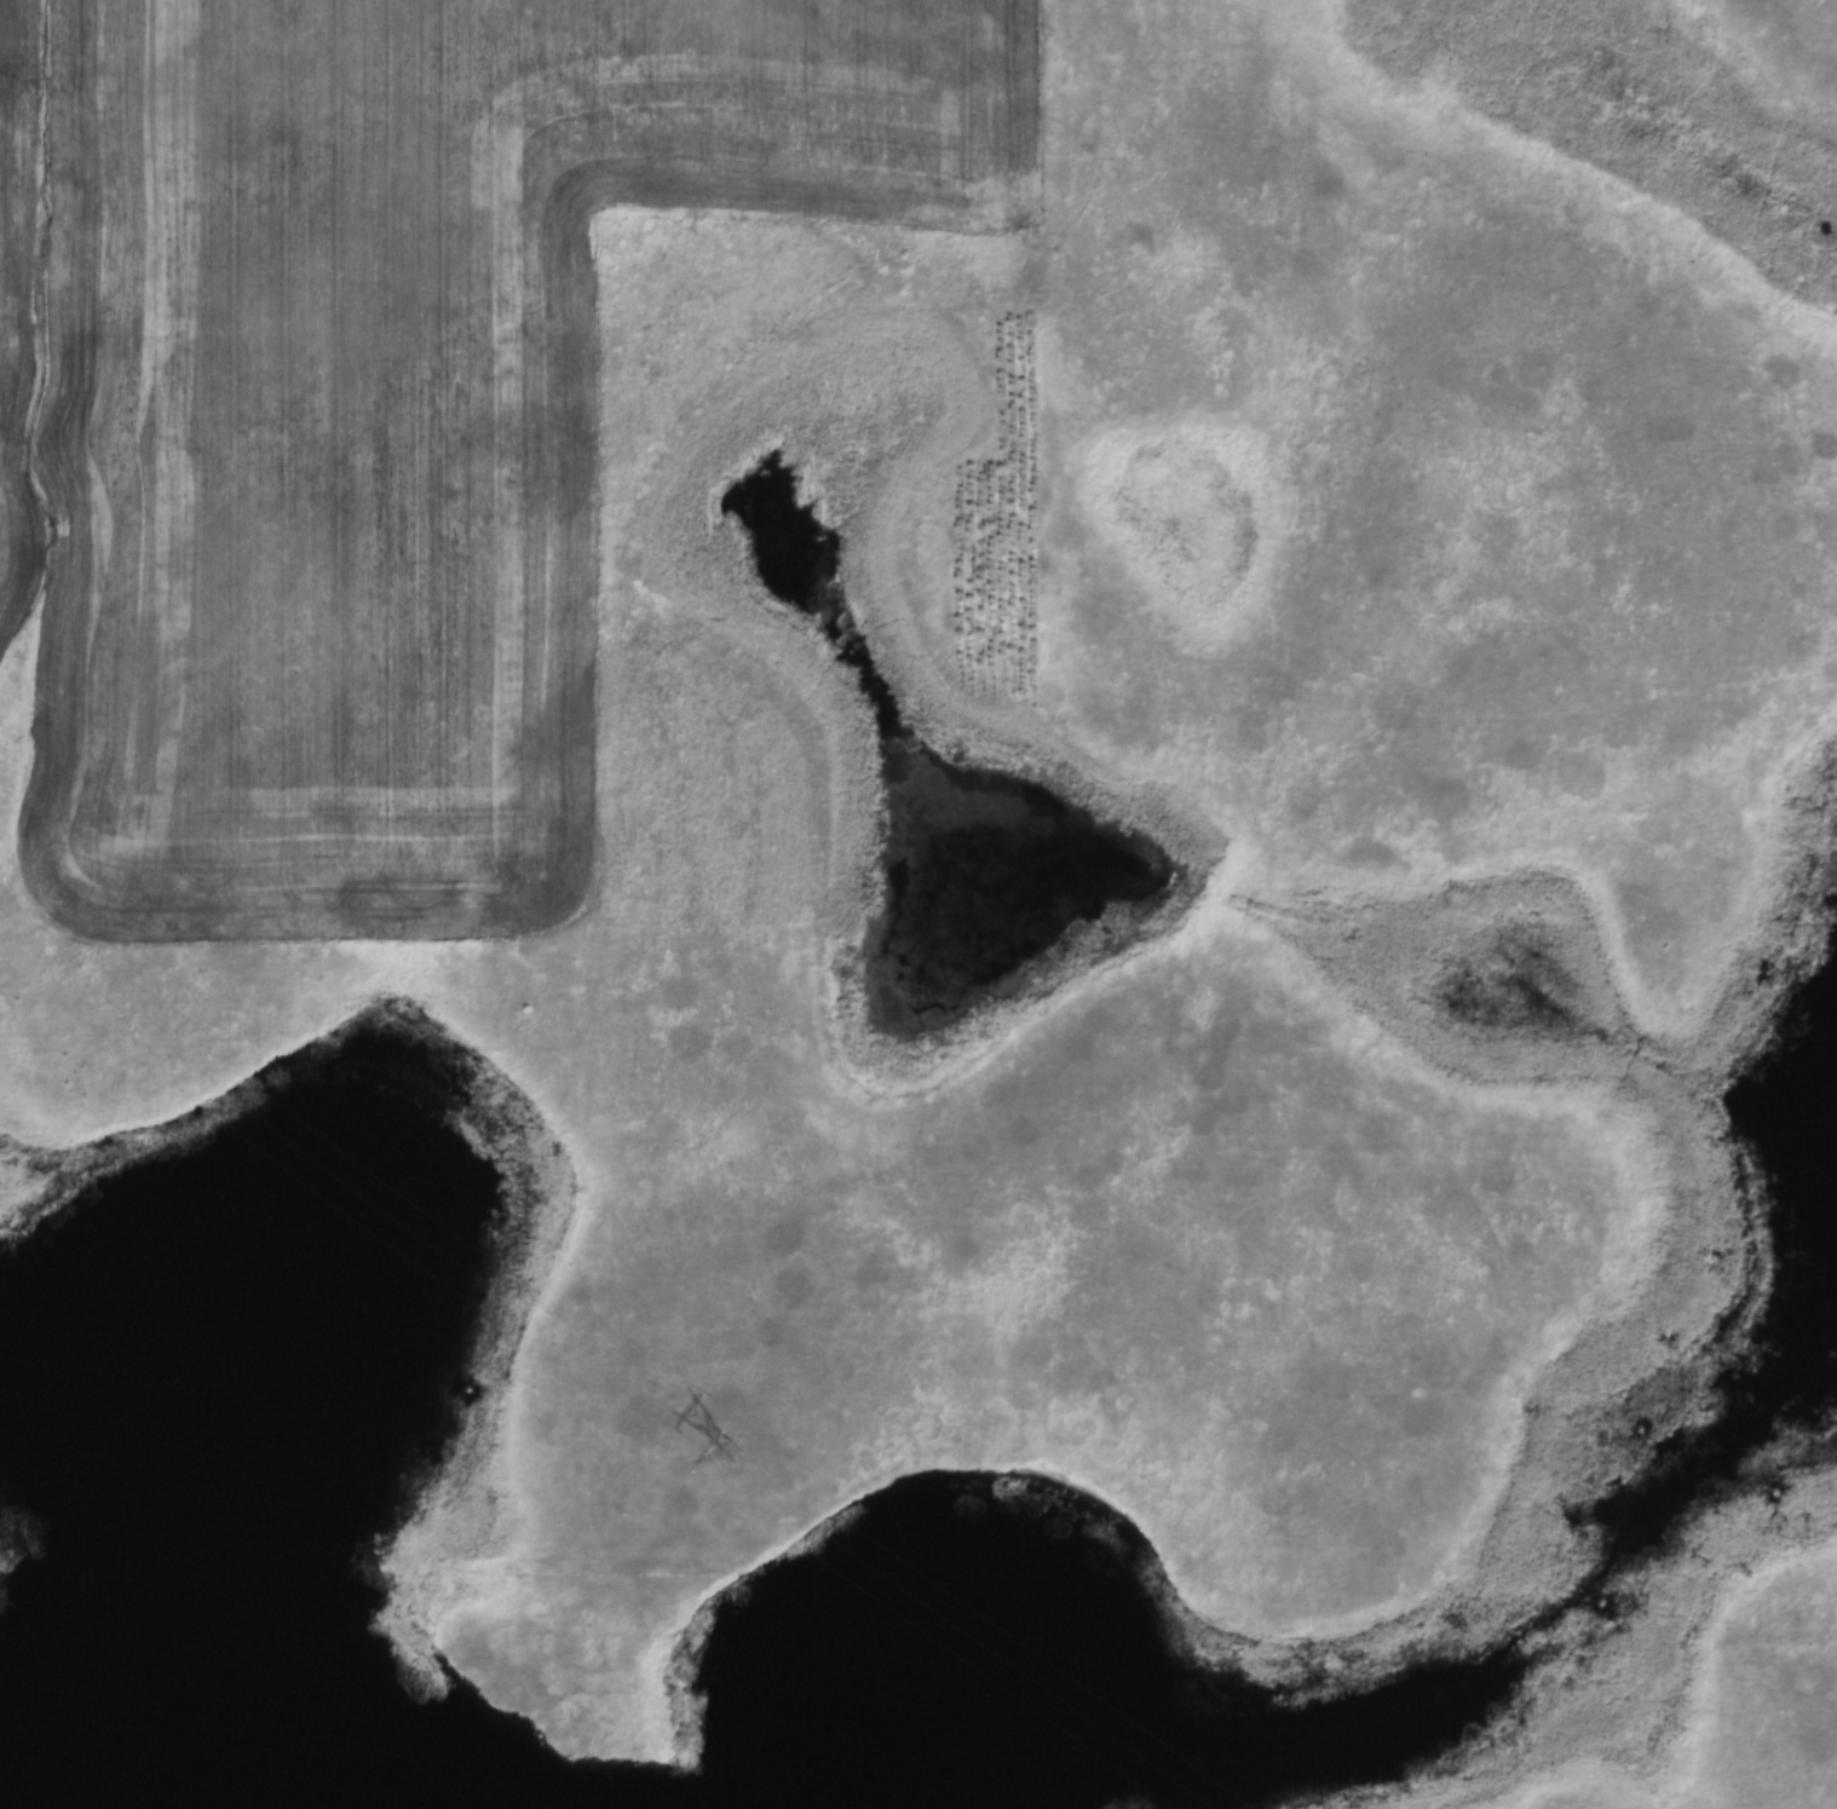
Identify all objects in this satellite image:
power tower: (727, 1471)

